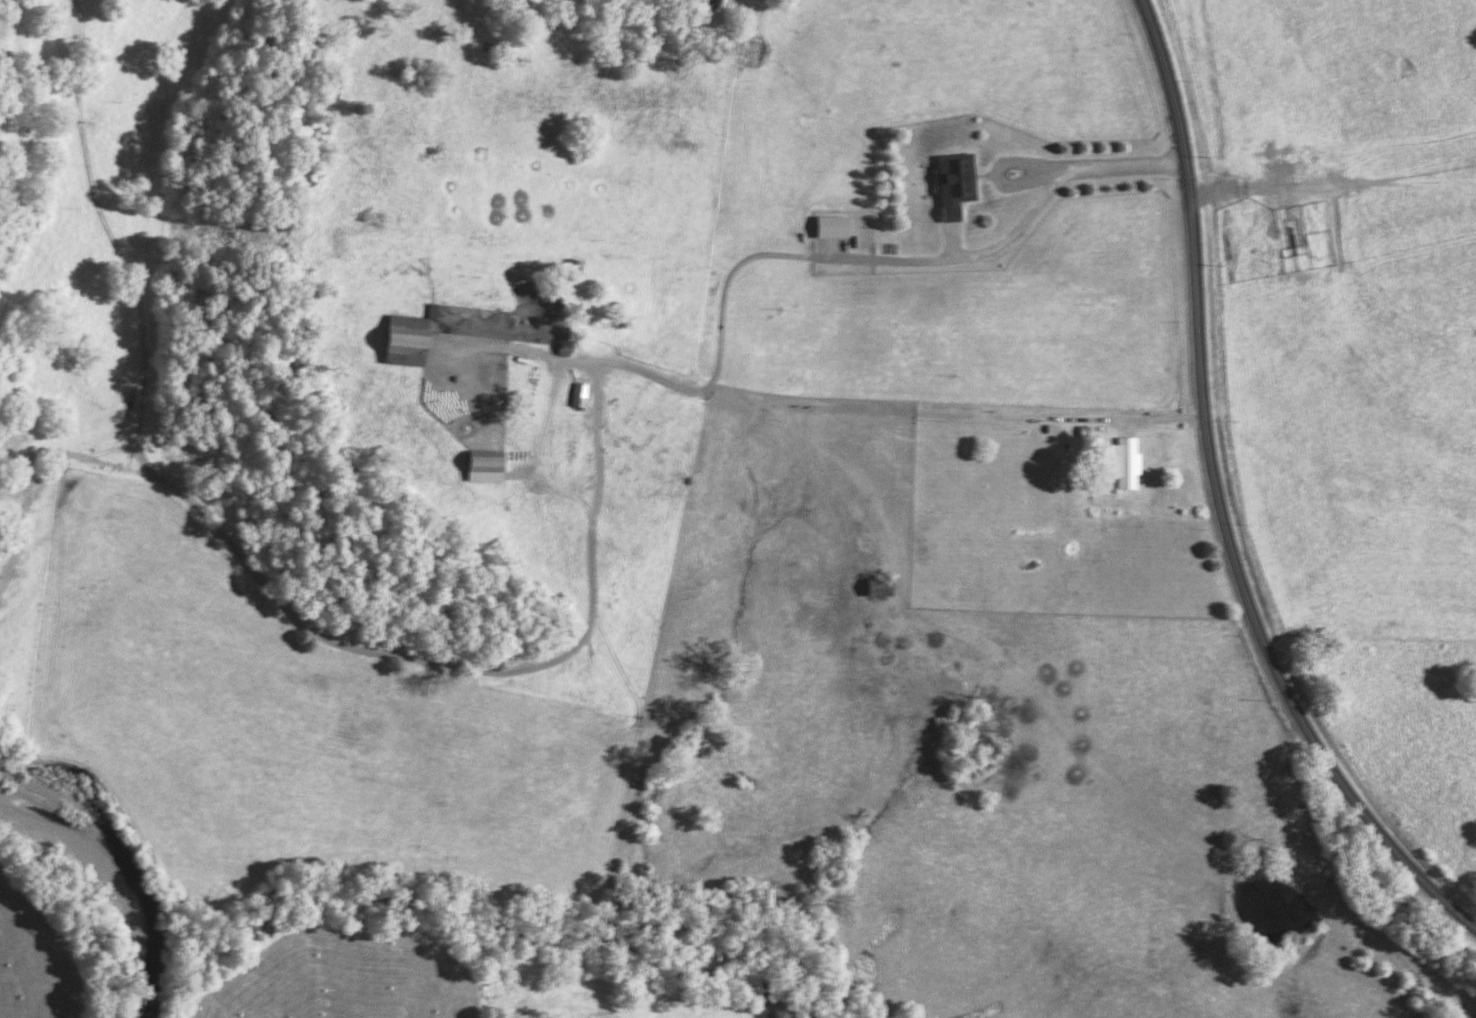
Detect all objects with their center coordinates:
building: (950, 187)
building: (828, 229)
road: (107, 235)
building: (568, 273)
building: (395, 343)
building: (574, 398)
building: (1122, 465)
building: (477, 469)
road: (603, 479)
road: (1219, 499)
building: (873, 593)

